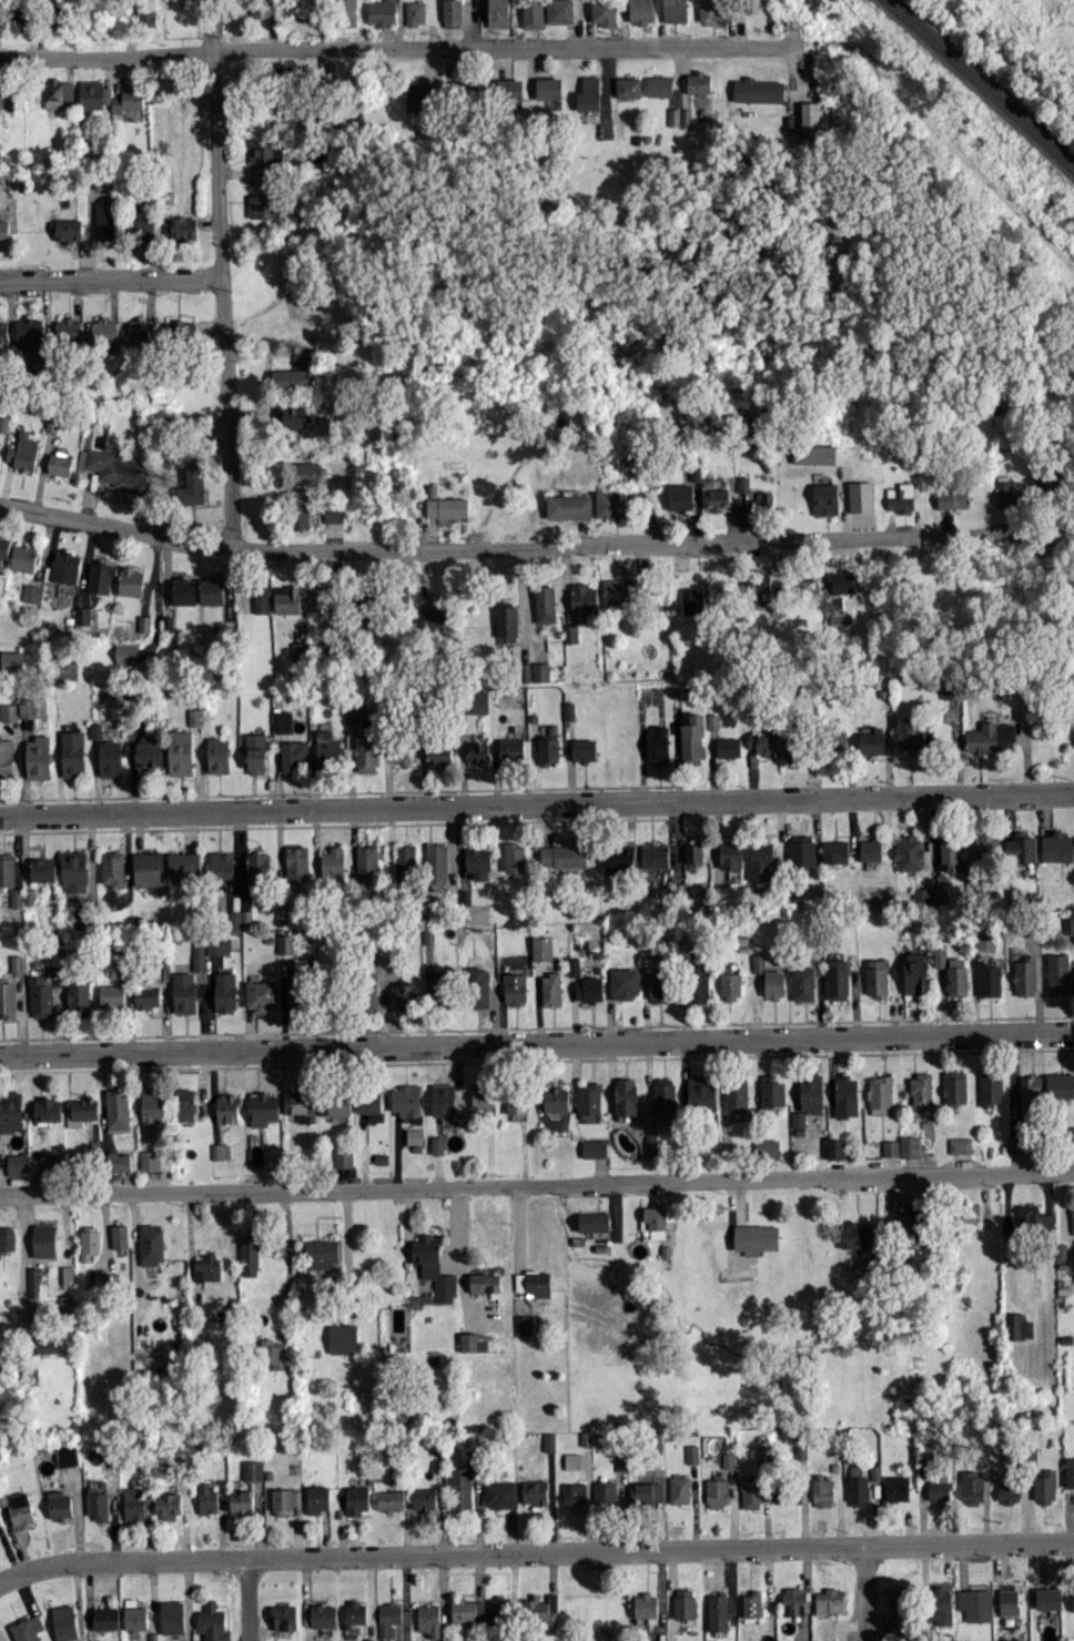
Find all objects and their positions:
building: (709, 9)
building: (675, 10)
building: (382, 11)
building: (559, 11)
building: (602, 11)
building: (641, 11)
building: (347, 12)
building: (416, 12)
building: (452, 13)
building: (497, 13)
building: (533, 13)
building: (146, 16)
road: (212, 26)
road: (393, 45)
building: (698, 82)
railway: (982, 82)
building: (659, 85)
building: (628, 87)
building: (548, 88)
building: (467, 89)
building: (509, 89)
building: (757, 90)
building: (58, 92)
building: (421, 92)
building: (589, 93)
building: (93, 94)
building: (1, 98)
building: (129, 100)
building: (810, 115)
building: (679, 117)
building: (264, 150)
building: (263, 205)
building: (104, 220)
building: (143, 227)
building: (183, 227)
building: (3, 230)
building: (67, 230)
road: (112, 275)
road: (226, 297)
building: (181, 328)
building: (68, 330)
building: (3, 331)
building: (135, 331)
building: (29, 333)
building: (101, 333)
building: (294, 374)
building: (293, 416)
building: (23, 452)
building: (814, 454)
building: (60, 463)
building: (113, 467)
building: (310, 472)
building: (1046, 482)
building: (743, 484)
building: (1005, 490)
building: (191, 494)
building: (680, 496)
building: (860, 496)
building: (901, 497)
building: (716, 498)
building: (825, 498)
building: (952, 498)
building: (759, 500)
building: (610, 504)
building: (447, 506)
building: (569, 506)
building: (334, 513)
building: (300, 516)
road: (118, 525)
road: (639, 541)
building: (3, 546)
building: (23, 557)
building: (64, 566)
building: (100, 576)
building: (130, 581)
building: (758, 581)
building: (842, 581)
building: (621, 589)
building: (183, 590)
building: (211, 590)
building: (31, 592)
building: (321, 594)
building: (404, 594)
building: (584, 597)
building: (286, 598)
building: (261, 600)
building: (692, 600)
building: (545, 602)
building: (436, 614)
building: (81, 615)
building: (507, 621)
building: (571, 634)
building: (300, 650)
building: (125, 652)
building: (11, 660)
building: (65, 668)
building: (540, 671)
building: (680, 689)
building: (476, 700)
building: (38, 707)
building: (357, 708)
building: (193, 717)
building: (713, 720)
building: (282, 721)
building: (910, 733)
building: (991, 737)
building: (692, 739)
building: (838, 739)
building: (871, 739)
building: (764, 742)
building: (657, 744)
building: (728, 747)
building: (326, 748)
building: (548, 748)
building: (511, 749)
building: (584, 750)
building: (793, 750)
building: (149, 751)
building: (180, 751)
building: (72, 752)
building: (255, 752)
building: (404, 752)
building: (478, 752)
building: (365, 753)
building: (438, 753)
building: (217, 754)
building: (293, 754)
building: (6, 757)
building: (38, 757)
building: (109, 758)
road: (536, 803)
building: (986, 844)
building: (1057, 847)
building: (1021, 848)
building: (871, 849)
building: (802, 850)
building: (834, 851)
building: (693, 852)
building: (909, 852)
building: (731, 853)
building: (950, 853)
building: (655, 854)
building: (563, 855)
building: (514, 857)
building: (620, 858)
building: (404, 860)
building: (761, 860)
building: (333, 862)
building: (436, 862)
building: (478, 862)
building: (184, 863)
building: (296, 863)
building: (366, 863)
building: (221, 864)
building: (257, 867)
building: (112, 868)
building: (7, 869)
building: (42, 869)
building: (149, 869)
building: (73, 872)
building: (935, 894)
building: (921, 895)
building: (16, 897)
building: (282, 914)
building: (80, 918)
building: (240, 919)
building: (1068, 924)
building: (986, 940)
building: (285, 943)
building: (217, 945)
building: (541, 948)
building: (197, 954)
building: (939, 956)
building: (758, 962)
building: (17, 963)
building: (574, 965)
building: (915, 972)
building: (1058, 973)
building: (1024, 975)
building: (877, 976)
building: (956, 976)
building: (837, 979)
building: (989, 979)
building: (699, 981)
building: (625, 982)
building: (773, 983)
building: (802, 983)
building: (730, 985)
building: (477, 986)
building: (659, 986)
building: (515, 987)
building: (550, 989)
building: (589, 989)
building: (296, 990)
building: (224, 991)
building: (183, 992)
building: (442, 992)
building: (111, 995)
building: (148, 995)
building: (260, 995)
building: (405, 995)
building: (40, 996)
building: (78, 996)
building: (7, 999)
building: (371, 999)
road: (537, 1043)
building: (1060, 1085)
building: (954, 1087)
building: (991, 1087)
building: (772, 1091)
building: (701, 1093)
building: (810, 1093)
building: (921, 1093)
building: (1030, 1093)
building: (880, 1094)
building: (736, 1095)
building: (483, 1096)
building: (626, 1096)
building: (665, 1096)
building: (844, 1096)
building: (589, 1097)
building: (443, 1098)
building: (555, 1098)
building: (405, 1100)
building: (369, 1101)
building: (298, 1102)
building: (185, 1103)
building: (516, 1104)
building: (335, 1105)
building: (151, 1107)
building: (227, 1107)
building: (263, 1107)
building: (47, 1108)
building: (82, 1108)
building: (118, 1108)
building: (9, 1113)
building: (798, 1118)
building: (1070, 1136)
building: (651, 1143)
building: (437, 1144)
building: (1016, 1144)
building: (909, 1145)
building: (960, 1145)
building: (594, 1147)
building: (834, 1147)
building: (890, 1147)
building: (767, 1148)
building: (220, 1151)
building: (344, 1156)
building: (272, 1157)
building: (150, 1159)
building: (120, 1162)
building: (17, 1164)
road: (536, 1182)
building: (657, 1217)
building: (1034, 1217)
building: (1072, 1217)
building: (594, 1220)
building: (909, 1224)
building: (119, 1235)
building: (756, 1236)
building: (859, 1236)
building: (7, 1238)
building: (43, 1239)
road: (520, 1239)
building: (89, 1242)
building: (151, 1244)
road: (462, 1246)
building: (323, 1253)
building: (250, 1255)
road: (22, 1262)
building: (206, 1267)
building: (434, 1267)
building: (68, 1274)
building: (33, 1280)
building: (485, 1282)
building: (534, 1282)
building: (67, 1306)
building: (523, 1324)
building: (1016, 1326)
building: (343, 1338)
building: (473, 1341)
building: (49, 1344)
building: (271, 1354)
building: (549, 1441)
building: (763, 1451)
building: (67, 1453)
building: (691, 1453)
building: (925, 1456)
building: (728, 1459)
building: (571, 1460)
building: (252, 1469)
building: (1070, 1471)
building: (462, 1483)
building: (1044, 1485)
building: (971, 1486)
building: (896, 1487)
building: (940, 1487)
building: (679, 1489)
building: (822, 1490)
building: (858, 1490)
building: (1007, 1490)
building: (535, 1492)
building: (605, 1492)
building: (647, 1492)
building: (717, 1492)
building: (751, 1492)
building: (499, 1493)
building: (787, 1493)
building: (574, 1495)
building: (207, 1498)
building: (317, 1498)
building: (424, 1498)
building: (285, 1499)
building: (356, 1499)
building: (391, 1499)
building: (242, 1500)
building: (98, 1503)
building: (134, 1503)
building: (60, 1505)
building: (168, 1505)
building: (21, 1509)
building: (0, 1521)
road: (535, 1551)
road: (867, 1592)
building: (1048, 1598)
building: (1073, 1598)
road: (251, 1599)
building: (792, 1600)
building: (899, 1600)
building: (830, 1601)
building: (1009, 1601)
building: (685, 1603)
building: (752, 1603)
building: (975, 1603)
building: (941, 1604)
building: (647, 1607)
building: (540, 1609)
building: (468, 1610)
building: (497, 1610)
building: (718, 1611)
building: (355, 1613)
building: (135, 1614)
building: (324, 1614)
building: (172, 1617)
building: (285, 1617)
building: (105, 1618)
building: (429, 1619)
building: (393, 1620)
building: (64, 1622)
building: (213, 1622)
building: (27, 1628)

